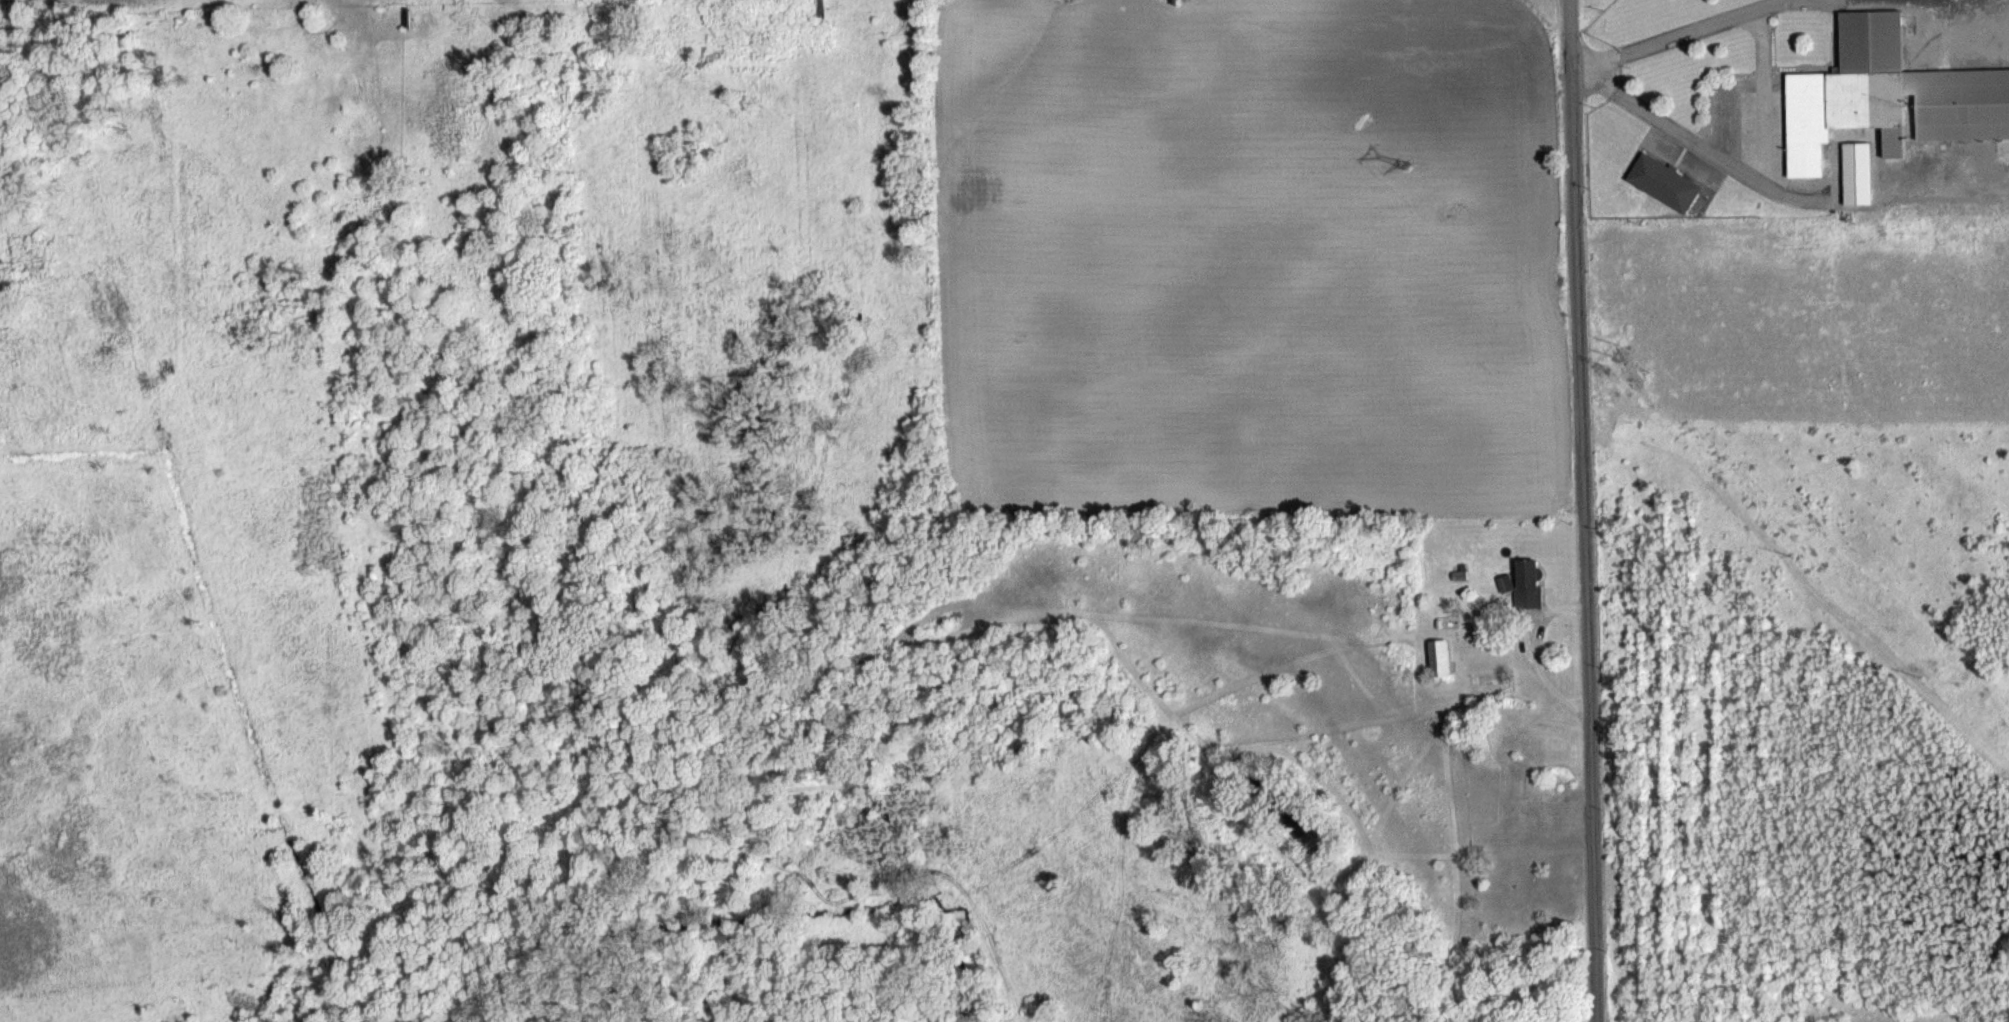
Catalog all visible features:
building: (1884, 96)
power tower: (1407, 162)
power tower: (1615, 356)
road: (1579, 510)
building: (1534, 584)
building: (1451, 621)
building: (1444, 655)

